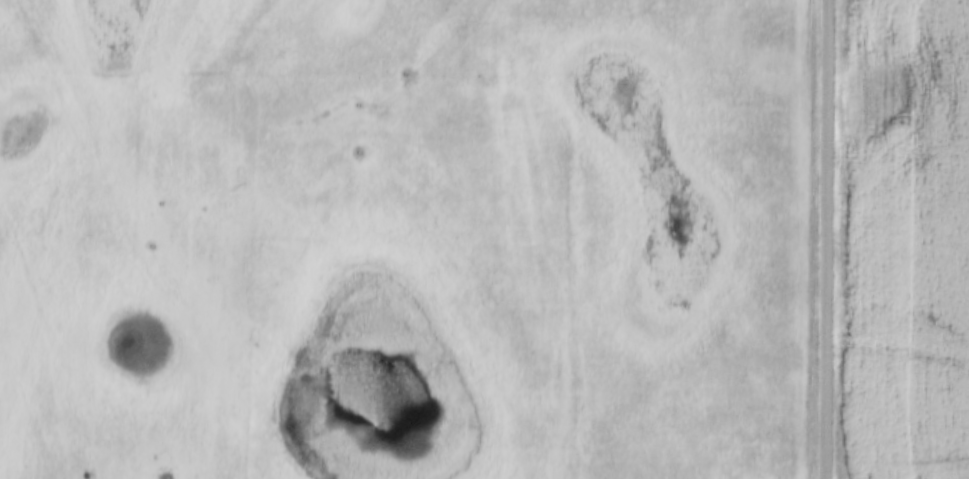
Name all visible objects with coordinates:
road: (835, 239)

